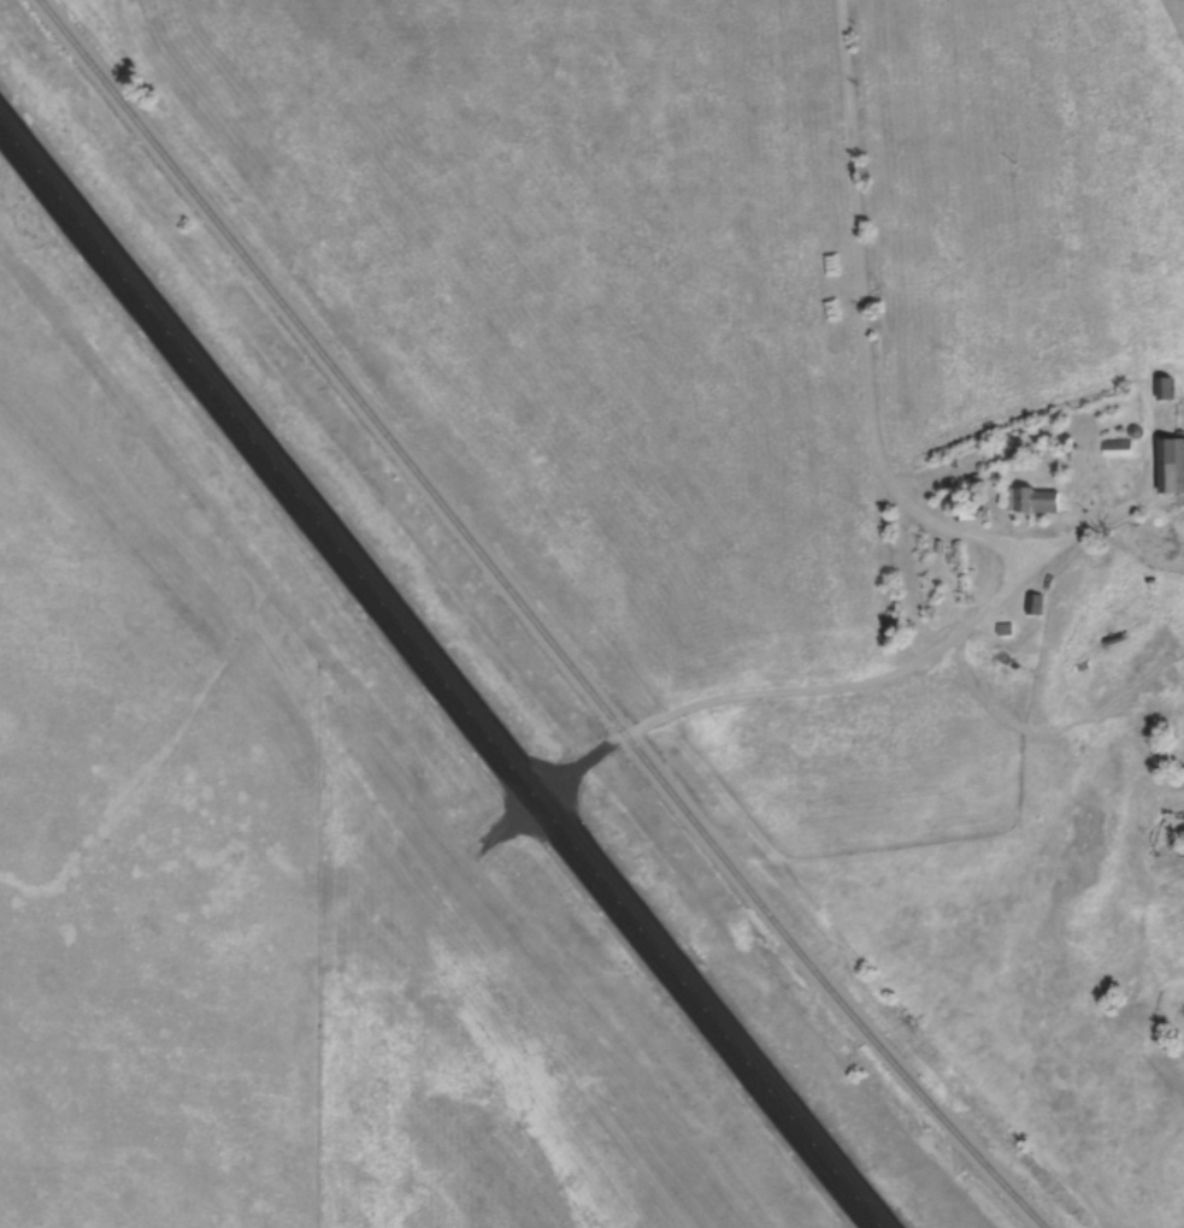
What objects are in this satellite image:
building: (1159, 390)
building: (1112, 449)
building: (1167, 468)
building: (1027, 503)
building: (1029, 607)
railway: (530, 620)
road: (824, 678)
road: (440, 681)
building: (1180, 721)

